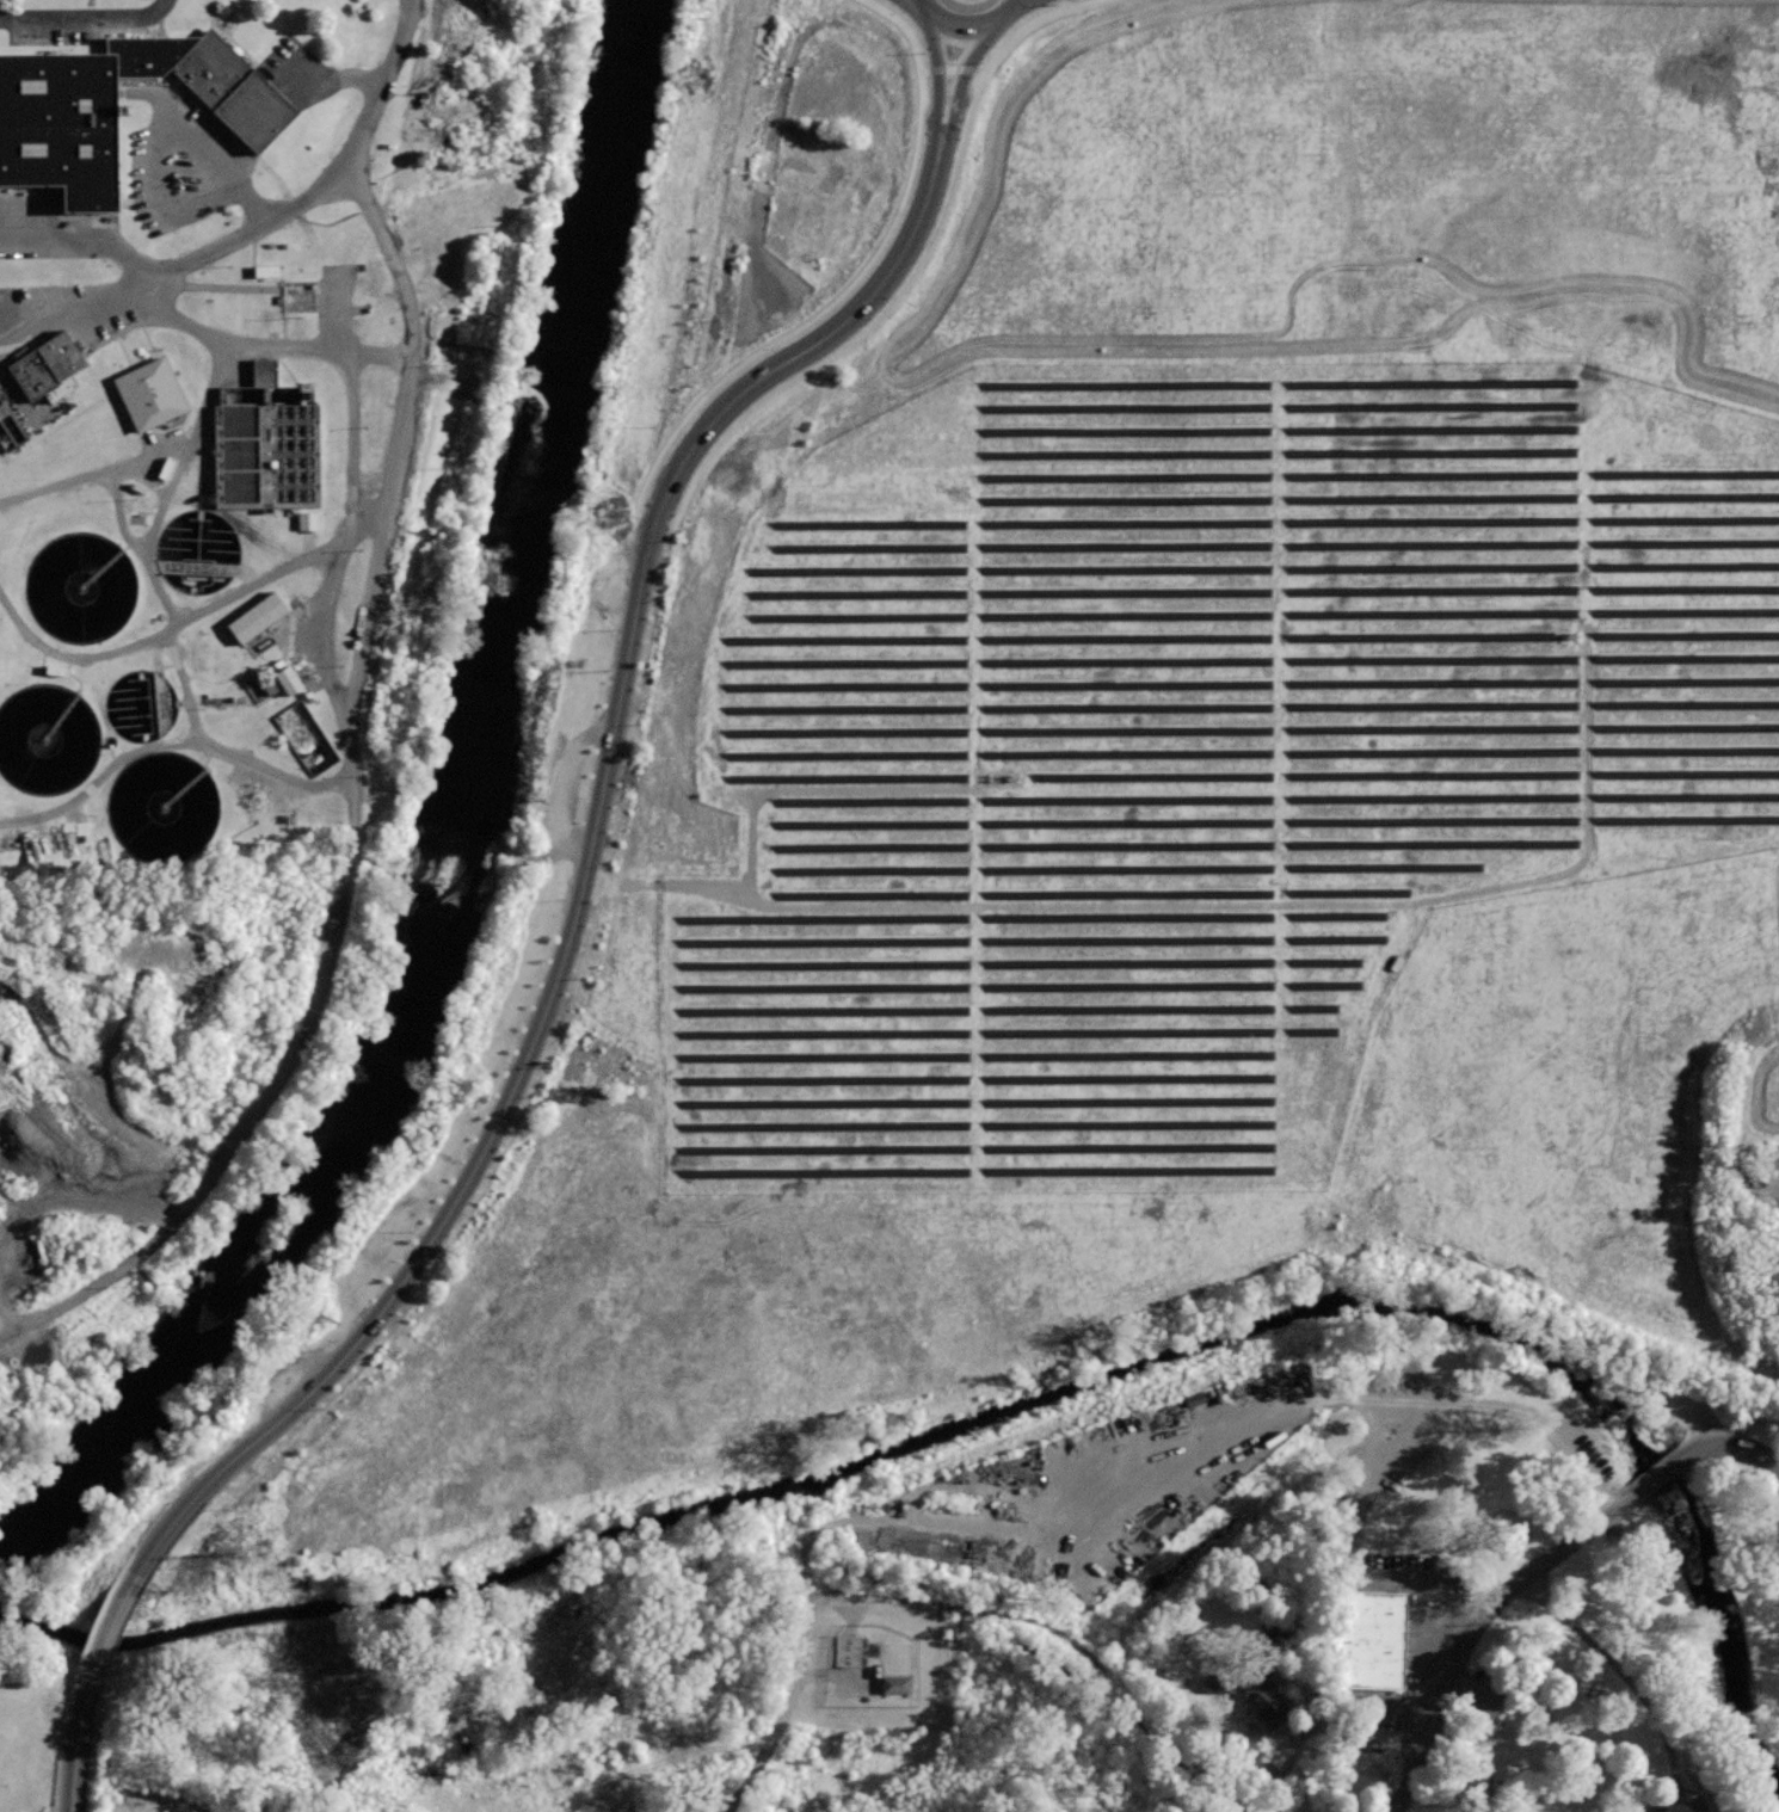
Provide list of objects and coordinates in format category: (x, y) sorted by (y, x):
road: (1065, 2)
road: (967, 16)
road: (136, 18)
road: (5, 19)
road: (55, 20)
parking lot: (55, 27)
road: (948, 69)
power tower: (700, 78)
road: (330, 82)
road: (940, 88)
road: (958, 91)
building: (116, 107)
road: (186, 134)
parking lot: (181, 160)
road: (234, 175)
road: (257, 209)
road: (264, 224)
building: (264, 271)
road: (910, 277)
road: (849, 283)
road: (75, 307)
road: (798, 349)
road: (320, 350)
building: (48, 365)
building: (265, 371)
building: (150, 393)
road: (208, 399)
building: (266, 454)
storage tank: (266, 454)
road: (96, 474)
road: (353, 498)
power tower: (616, 516)
building: (306, 522)
road: (141, 548)
building: (197, 550)
storage tank: (197, 550)
building: (81, 585)
storage tank: (81, 585)
wastewater plant: (229, 598)
building: (257, 617)
road: (190, 620)
building: (1566, 635)
building: (285, 680)
road: (185, 688)
building: (140, 704)
storage tank: (140, 704)
building: (47, 738)
storage tank: (47, 738)
road: (166, 745)
solar farm: (1187, 750)
building: (1001, 778)
road: (855, 788)
road: (565, 789)
building: (162, 805)
storage tank: (162, 805)
road: (351, 811)
road: (752, 845)
river: (461, 848)
road: (531, 856)
road: (1198, 905)
road: (1408, 929)
building: (1393, 963)
power tower: (457, 1084)
road: (501, 1117)
road: (78, 1185)
road: (1760, 1190)
road: (6, 1295)
power tower: (327, 1319)
road: (1488, 1403)
river: (1024, 1413)
road: (1409, 1443)
road: (1741, 1443)
parking lot: (1418, 1446)
parking lot: (1592, 1460)
road: (1655, 1477)
parking lot: (1091, 1486)
road: (804, 1546)
road: (1565, 1547)
road: (1367, 1574)
park: (1557, 1589)
road: (112, 1633)
parking lot: (1412, 1633)
road: (1064, 1637)
building: (1364, 1639)
road: (1621, 1672)
building: (893, 1684)
road: (1440, 1687)
building: (1269, 1699)
road: (783, 1712)
road: (82, 1732)
road: (1678, 1793)
road: (72, 1810)

